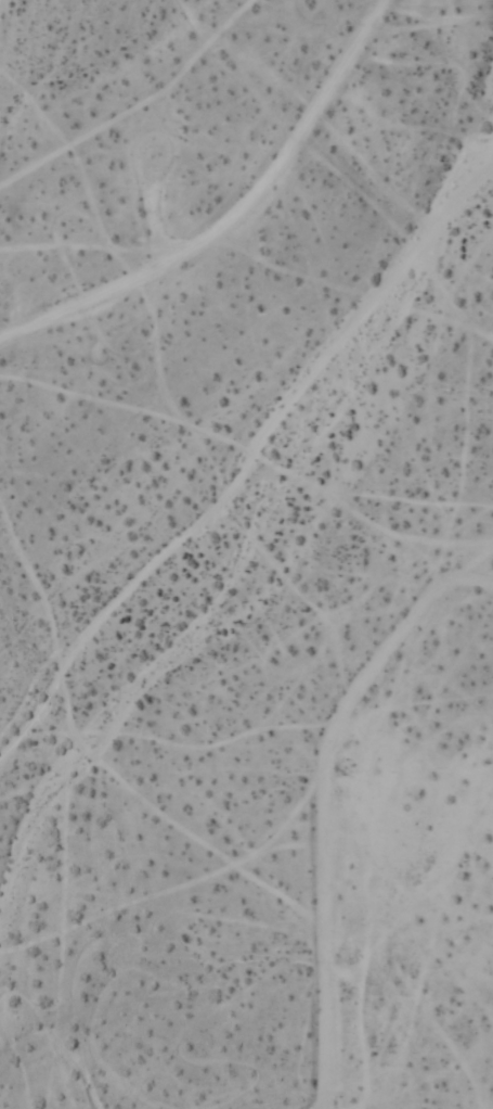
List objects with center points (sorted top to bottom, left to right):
road: (150, 216)
road: (235, 220)
crop: (246, 554)
road: (325, 804)

